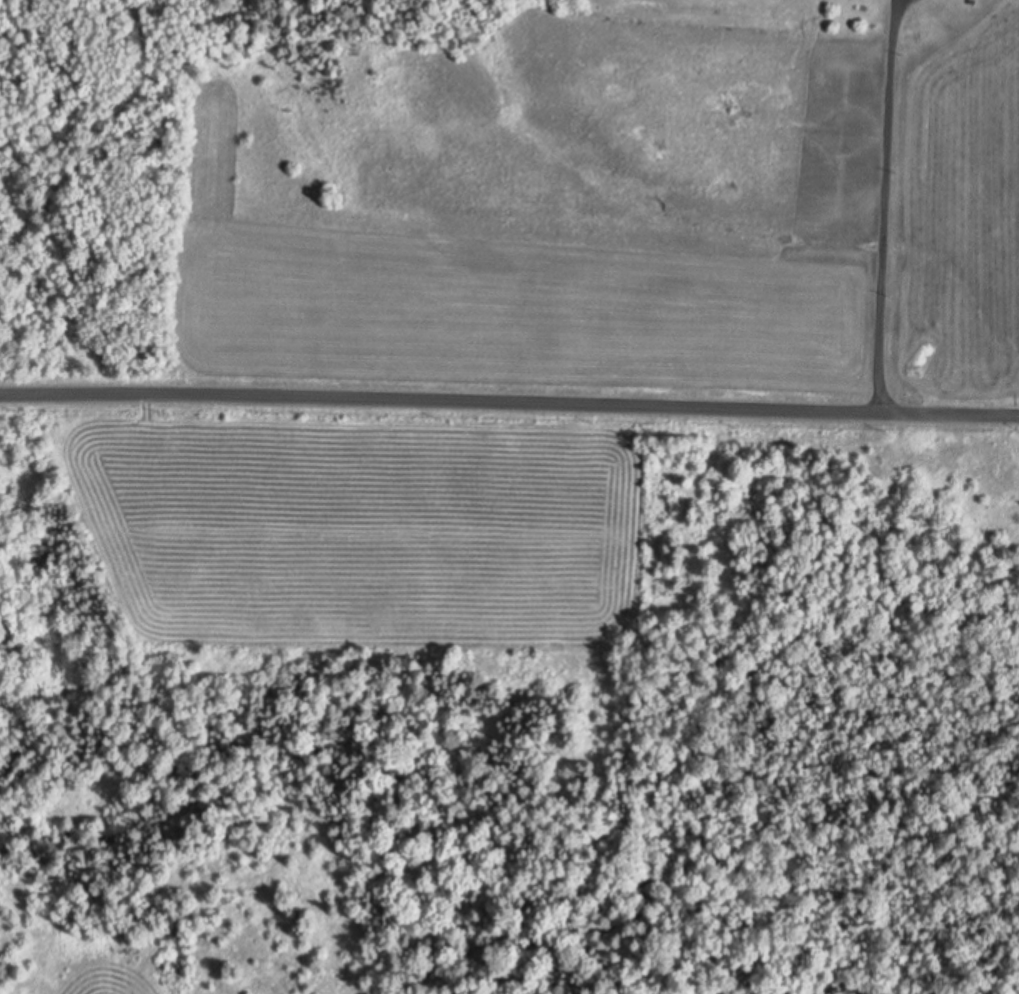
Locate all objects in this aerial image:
road: (887, 205)
road: (509, 402)

